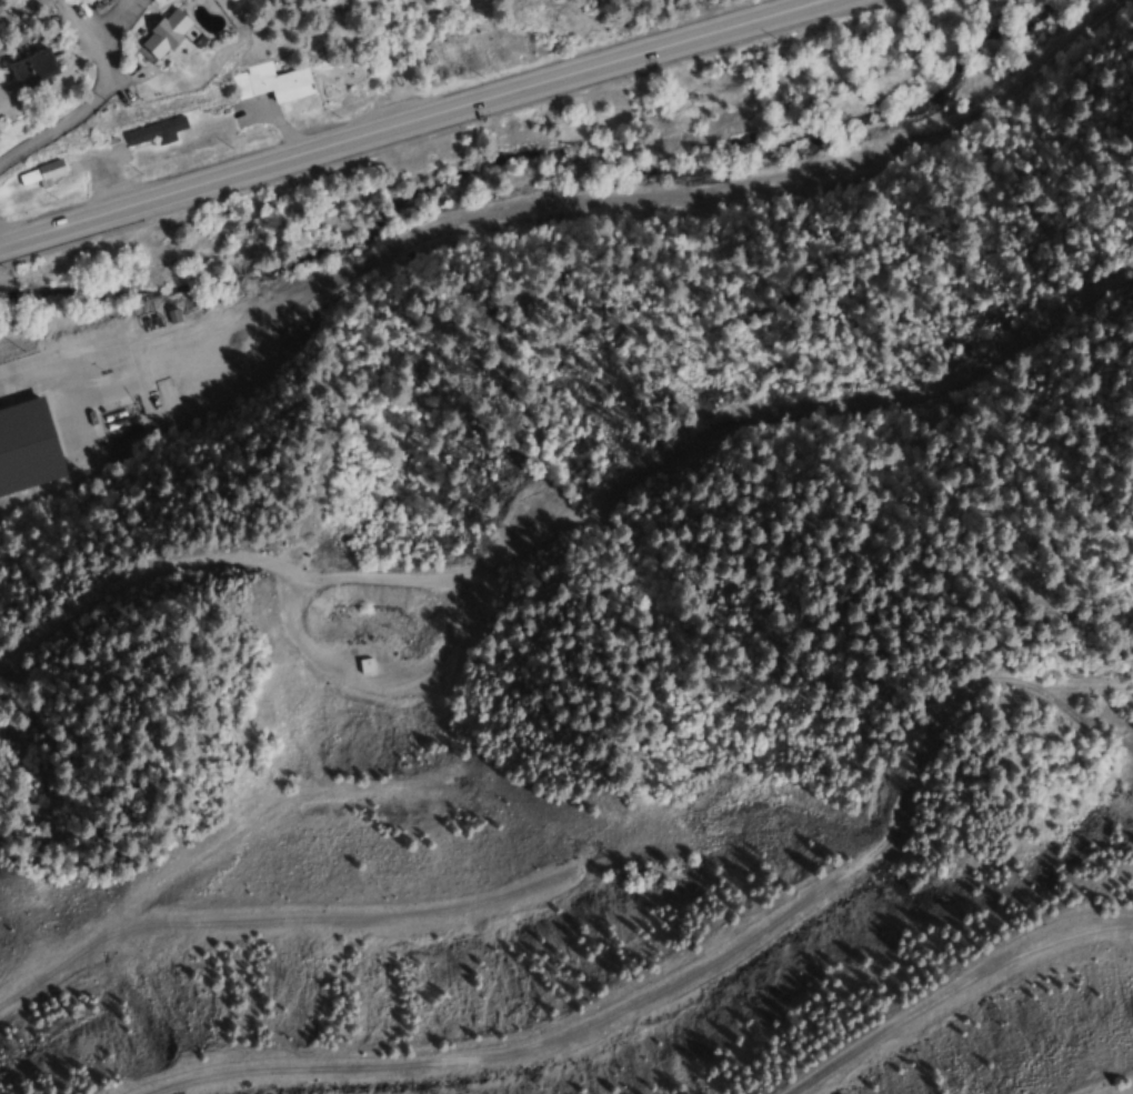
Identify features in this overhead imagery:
building: (164, 33)
building: (457, 38)
building: (30, 69)
building: (271, 82)
road: (419, 124)
building: (153, 132)
building: (41, 178)
road: (420, 232)
building: (27, 450)
road: (571, 509)
building: (364, 666)

